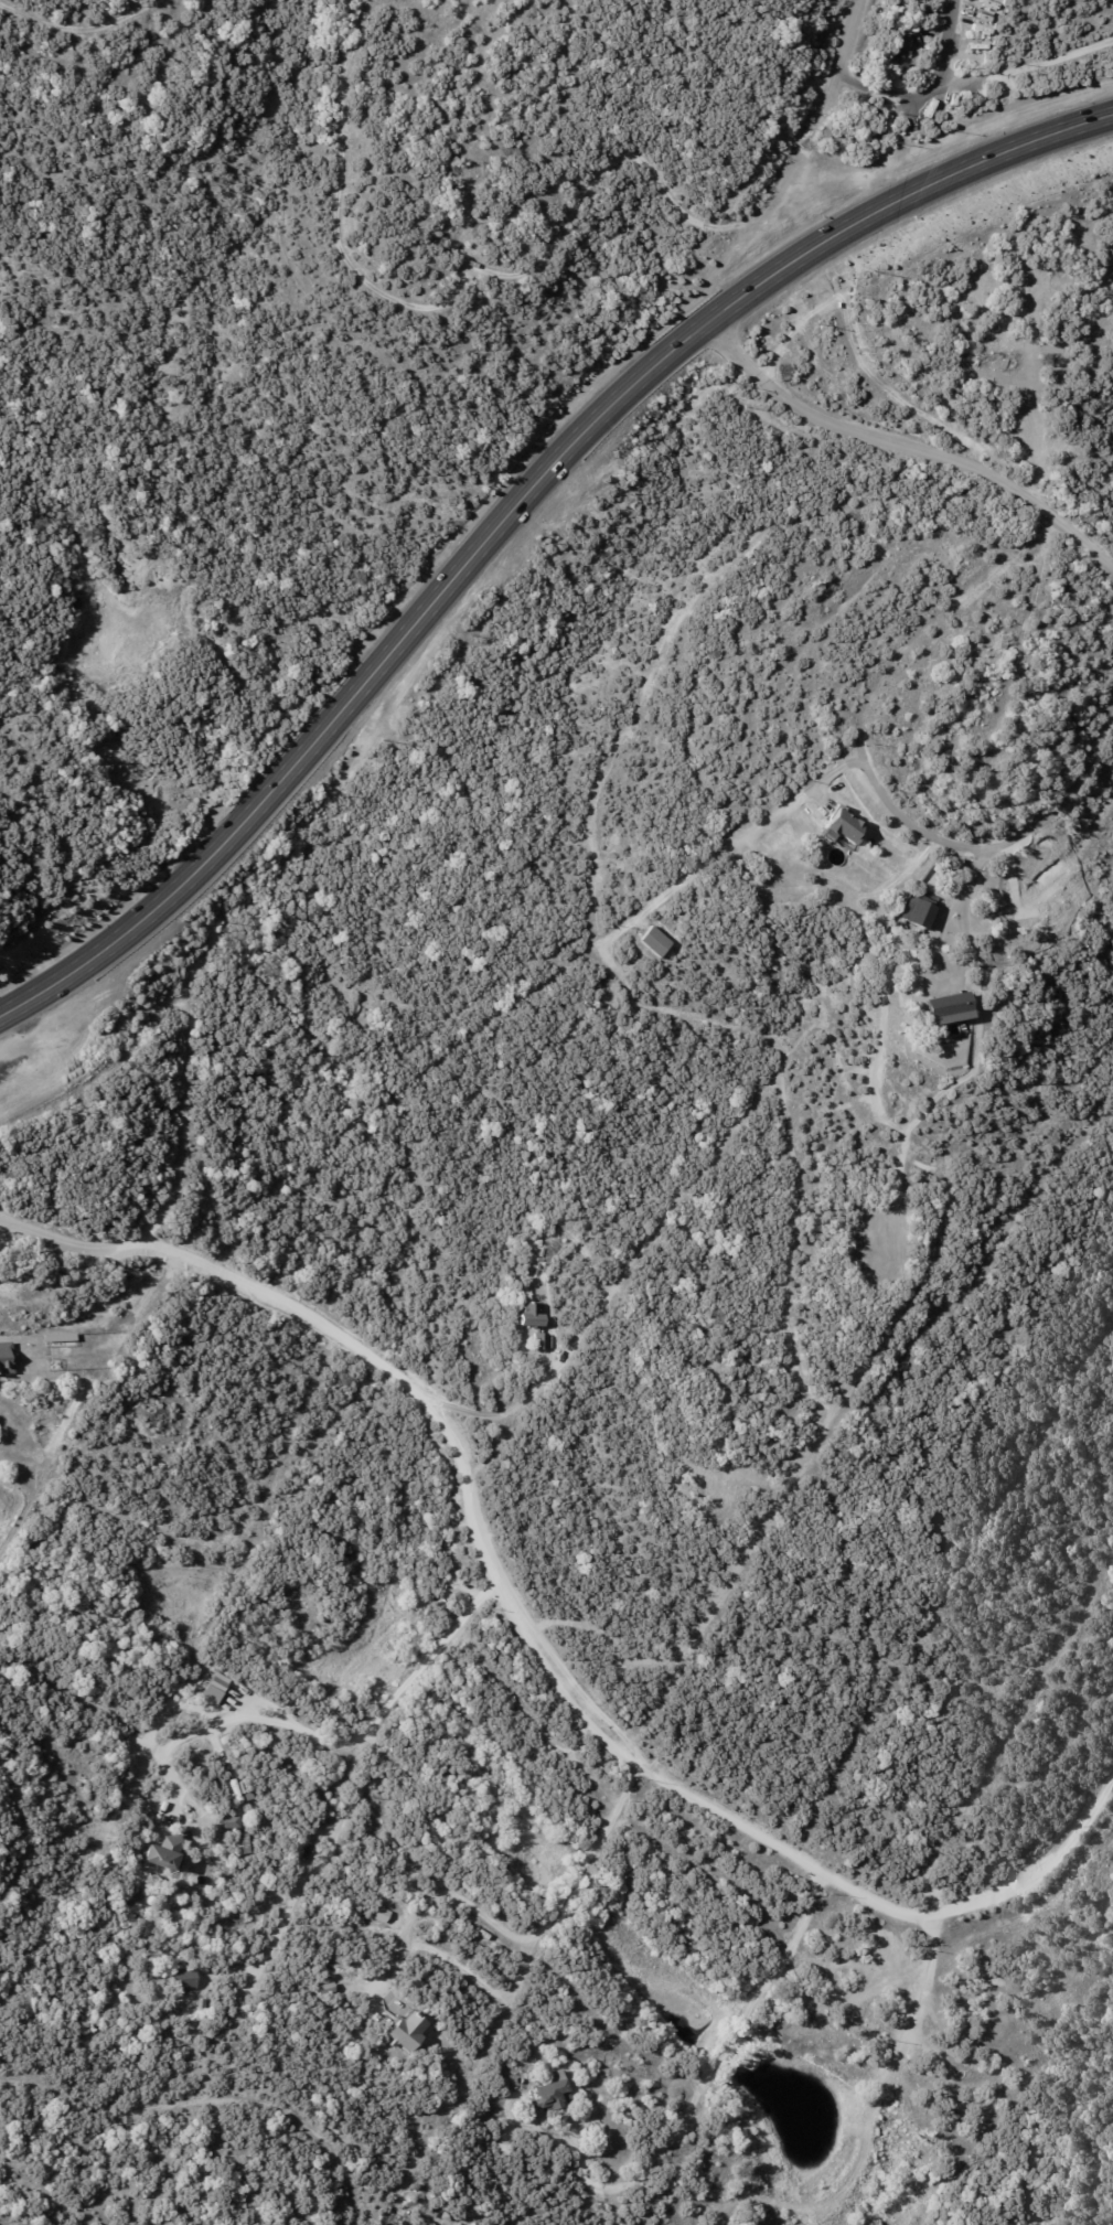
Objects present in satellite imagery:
building: (900, 46)
road: (843, 52)
road: (1028, 64)
road: (929, 92)
road: (913, 113)
road: (905, 445)
road: (515, 509)
building: (848, 825)
road: (998, 843)
building: (922, 912)
building: (922, 933)
building: (657, 942)
road: (961, 970)
building: (952, 1004)
building: (927, 1157)
road: (4, 1224)
building: (554, 1252)
building: (533, 1315)
building: (543, 1341)
building: (7, 1357)
road: (497, 1414)
road: (527, 1637)
building: (214, 1687)
road: (235, 1732)
building: (286, 1765)
road: (368, 1780)
building: (229, 1822)
building: (307, 1854)
building: (165, 1855)
building: (130, 1898)
road: (435, 1906)
building: (147, 1912)
building: (381, 1914)
building: (484, 1935)
road: (547, 1939)
road: (459, 1975)
building: (182, 1978)
building: (329, 1990)
building: (406, 2034)
building: (550, 2093)
road: (695, 2095)
building: (952, 2114)
building: (504, 2148)
building: (447, 2216)

